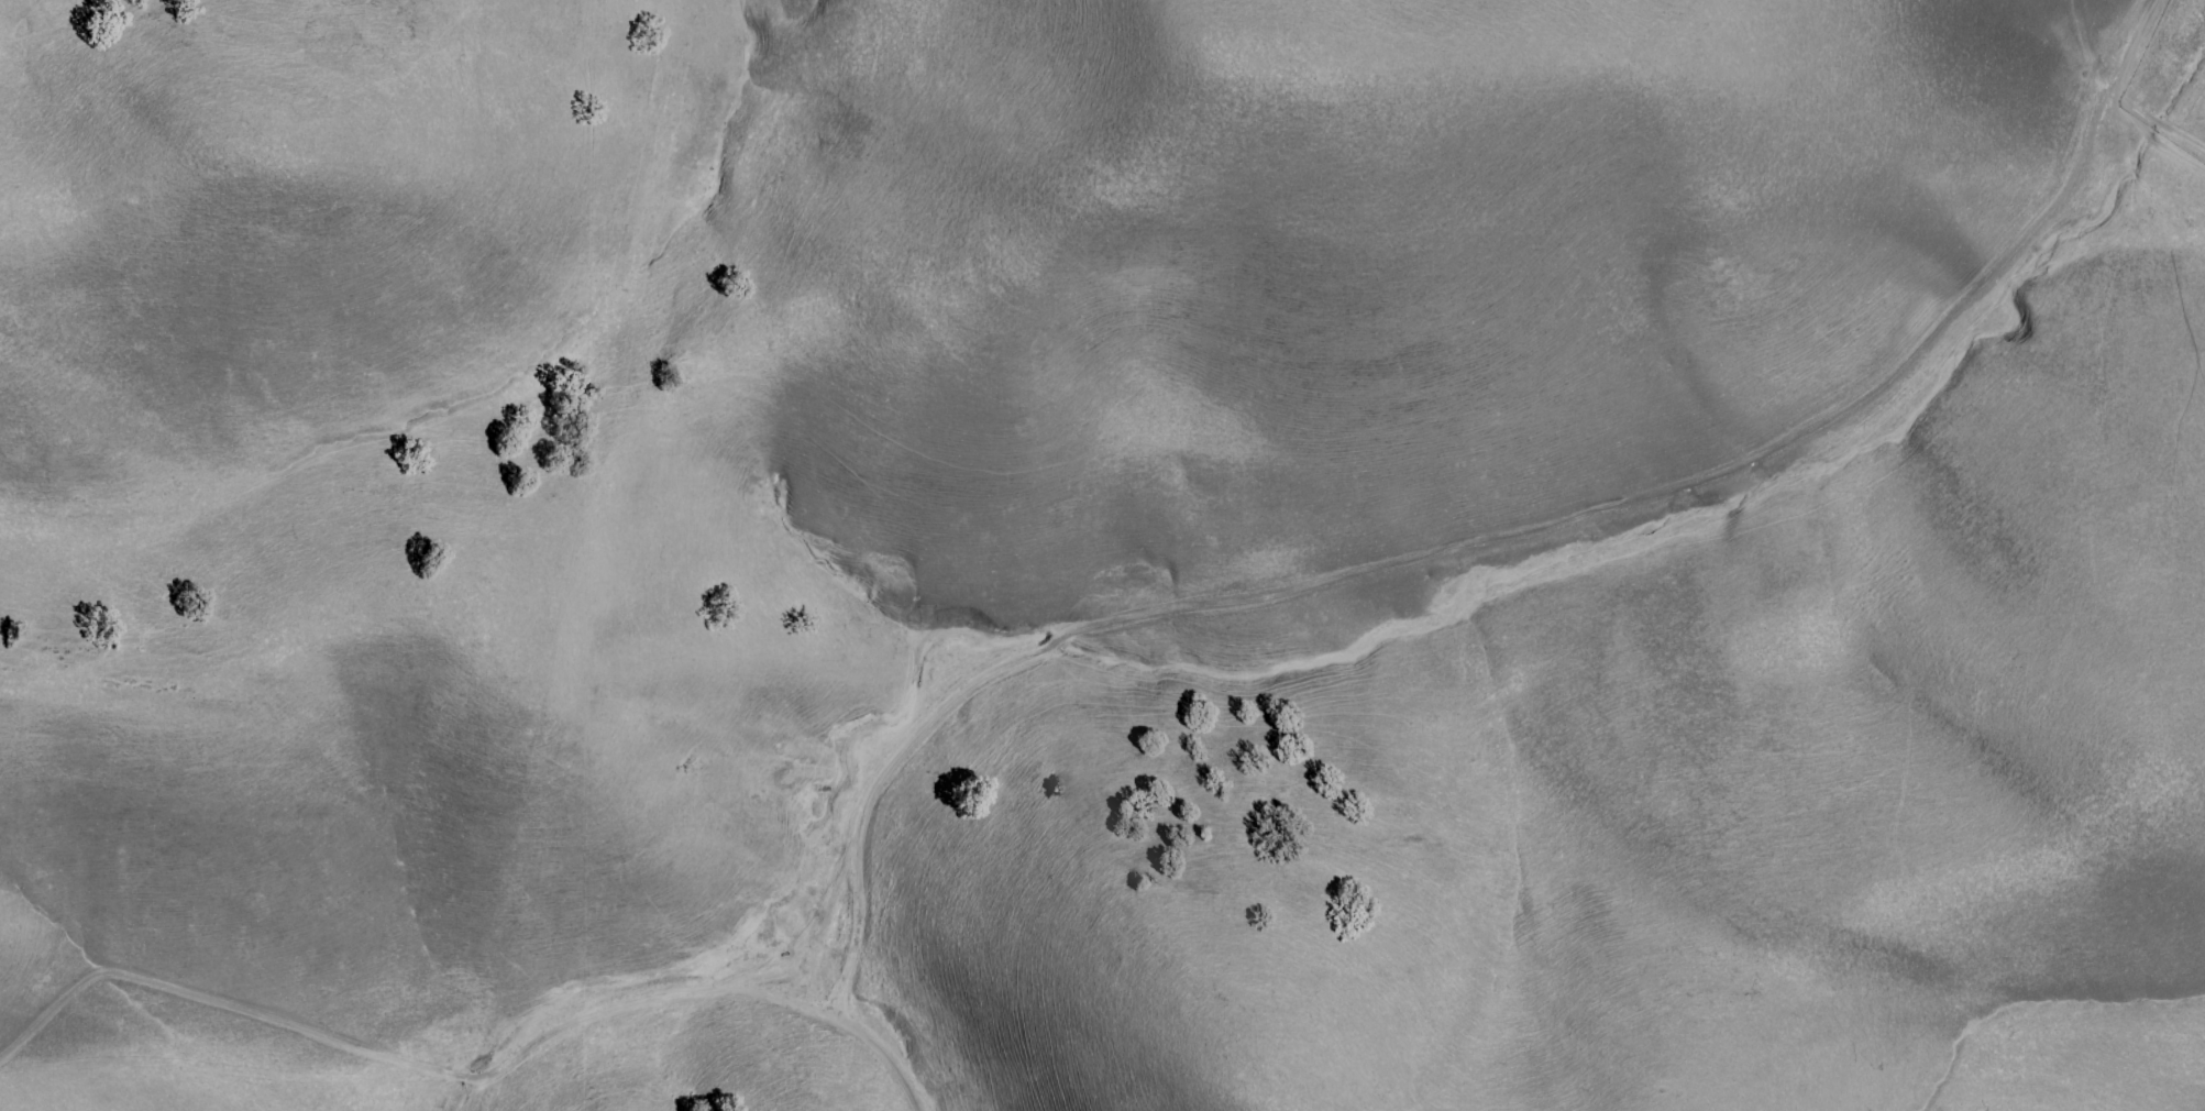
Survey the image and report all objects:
road: (2084, 42)
road: (1438, 555)

